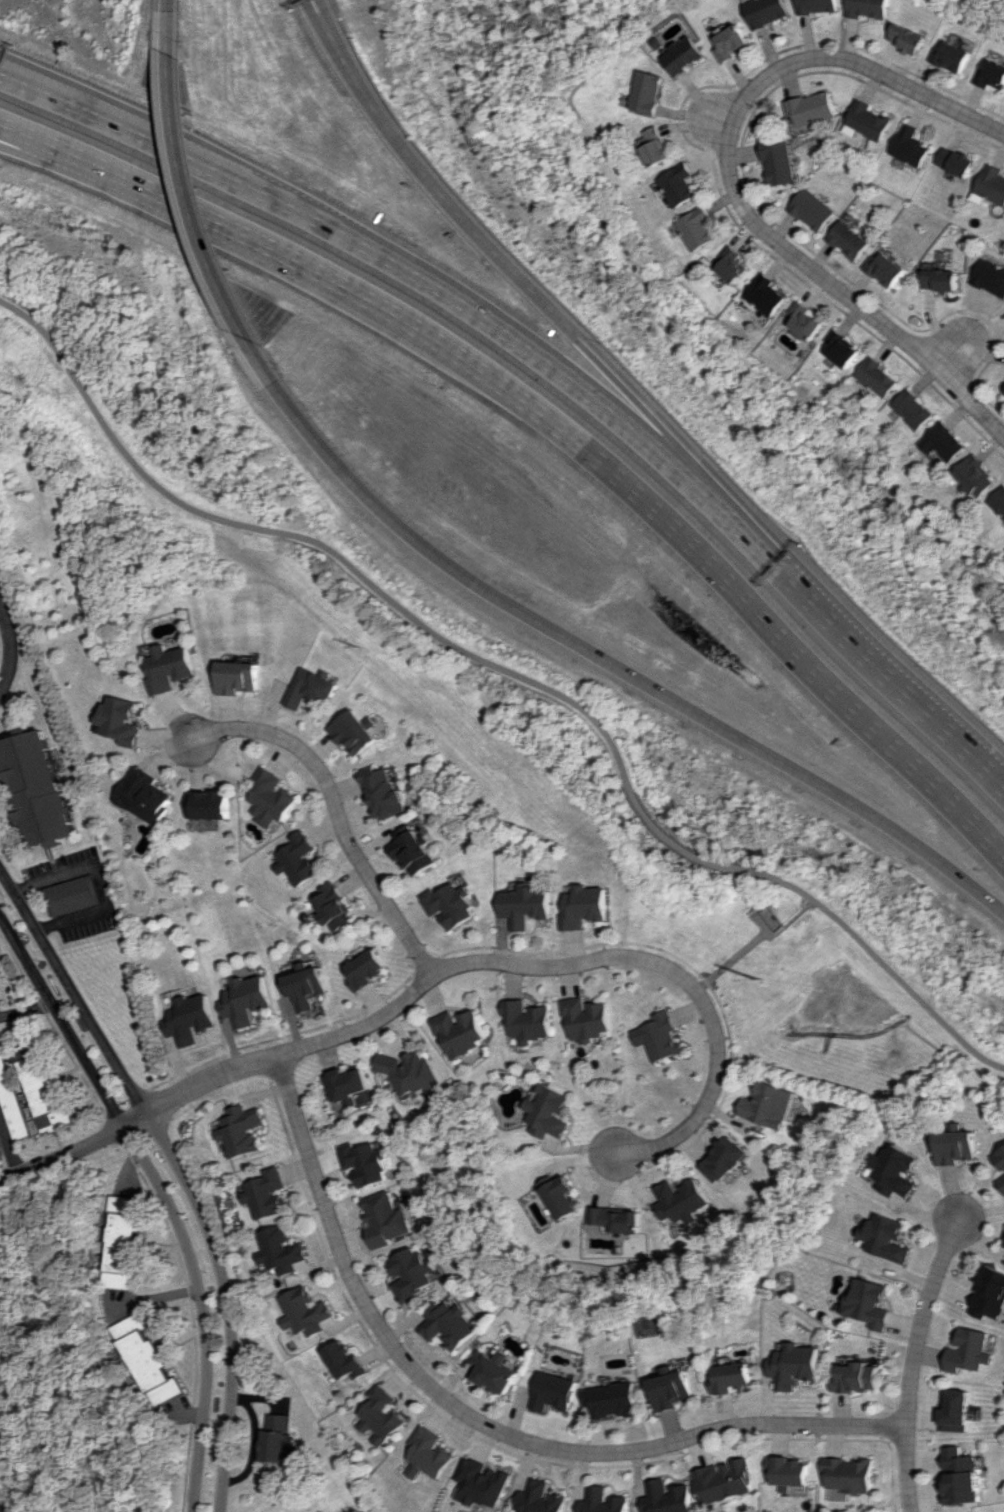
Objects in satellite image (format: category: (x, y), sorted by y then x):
building: (819, 6)
building: (869, 8)
building: (767, 12)
road: (327, 16)
road: (186, 26)
building: (908, 38)
building: (731, 42)
building: (681, 55)
building: (952, 57)
building: (991, 74)
building: (644, 92)
building: (814, 108)
road: (718, 120)
building: (871, 121)
road: (123, 122)
road: (39, 138)
road: (39, 145)
building: (911, 146)
building: (652, 147)
building: (780, 161)
building: (956, 162)
road: (730, 179)
building: (676, 185)
building: (991, 186)
road: (201, 198)
building: (814, 210)
building: (694, 228)
building: (850, 240)
road: (279, 250)
building: (729, 265)
building: (887, 269)
building: (990, 277)
building: (941, 279)
building: (764, 295)
building: (805, 321)
road: (565, 328)
building: (841, 349)
road: (953, 357)
road: (550, 366)
building: (876, 377)
building: (911, 409)
building: (942, 442)
building: (975, 476)
building: (998, 501)
road: (747, 597)
road: (11, 652)
road: (596, 654)
building: (170, 668)
road: (511, 675)
building: (238, 677)
building: (311, 688)
road: (912, 692)
building: (120, 721)
building: (353, 732)
building: (38, 788)
building: (145, 796)
building: (384, 796)
building: (270, 797)
building: (208, 804)
road: (334, 810)
building: (412, 850)
building: (295, 859)
road: (101, 881)
building: (73, 895)
building: (450, 904)
building: (525, 905)
building: (331, 906)
building: (584, 907)
road: (753, 938)
road: (512, 965)
building: (366, 970)
building: (306, 985)
building: (245, 1000)
building: (0, 1003)
road: (25, 1008)
building: (190, 1019)
building: (588, 1019)
building: (529, 1020)
building: (461, 1031)
building: (660, 1037)
building: (413, 1072)
building: (348, 1085)
building: (48, 1096)
building: (13, 1101)
building: (770, 1105)
building: (549, 1112)
building: (240, 1130)
building: (957, 1145)
road: (11, 1146)
building: (0, 1152)
road: (63, 1157)
building: (1001, 1158)
building: (724, 1159)
building: (368, 1163)
road: (179, 1170)
building: (895, 1171)
building: (870, 1175)
building: (1002, 1182)
building: (265, 1193)
road: (165, 1195)
building: (560, 1195)
building: (680, 1200)
building: (616, 1219)
building: (386, 1220)
building: (883, 1238)
building: (126, 1241)
building: (279, 1251)
building: (412, 1273)
building: (989, 1294)
building: (866, 1303)
building: (304, 1312)
building: (449, 1323)
building: (967, 1351)
road: (910, 1360)
building: (151, 1361)
building: (344, 1361)
building: (792, 1365)
building: (493, 1370)
building: (853, 1377)
building: (730, 1378)
building: (670, 1388)
building: (554, 1392)
building: (612, 1400)
building: (954, 1412)
building: (380, 1415)
road: (479, 1424)
building: (277, 1438)
building: (427, 1454)
building: (790, 1471)
building: (961, 1476)
building: (848, 1477)
building: (727, 1481)
building: (483, 1483)
building: (671, 1497)
building: (544, 1498)
building: (607, 1501)

